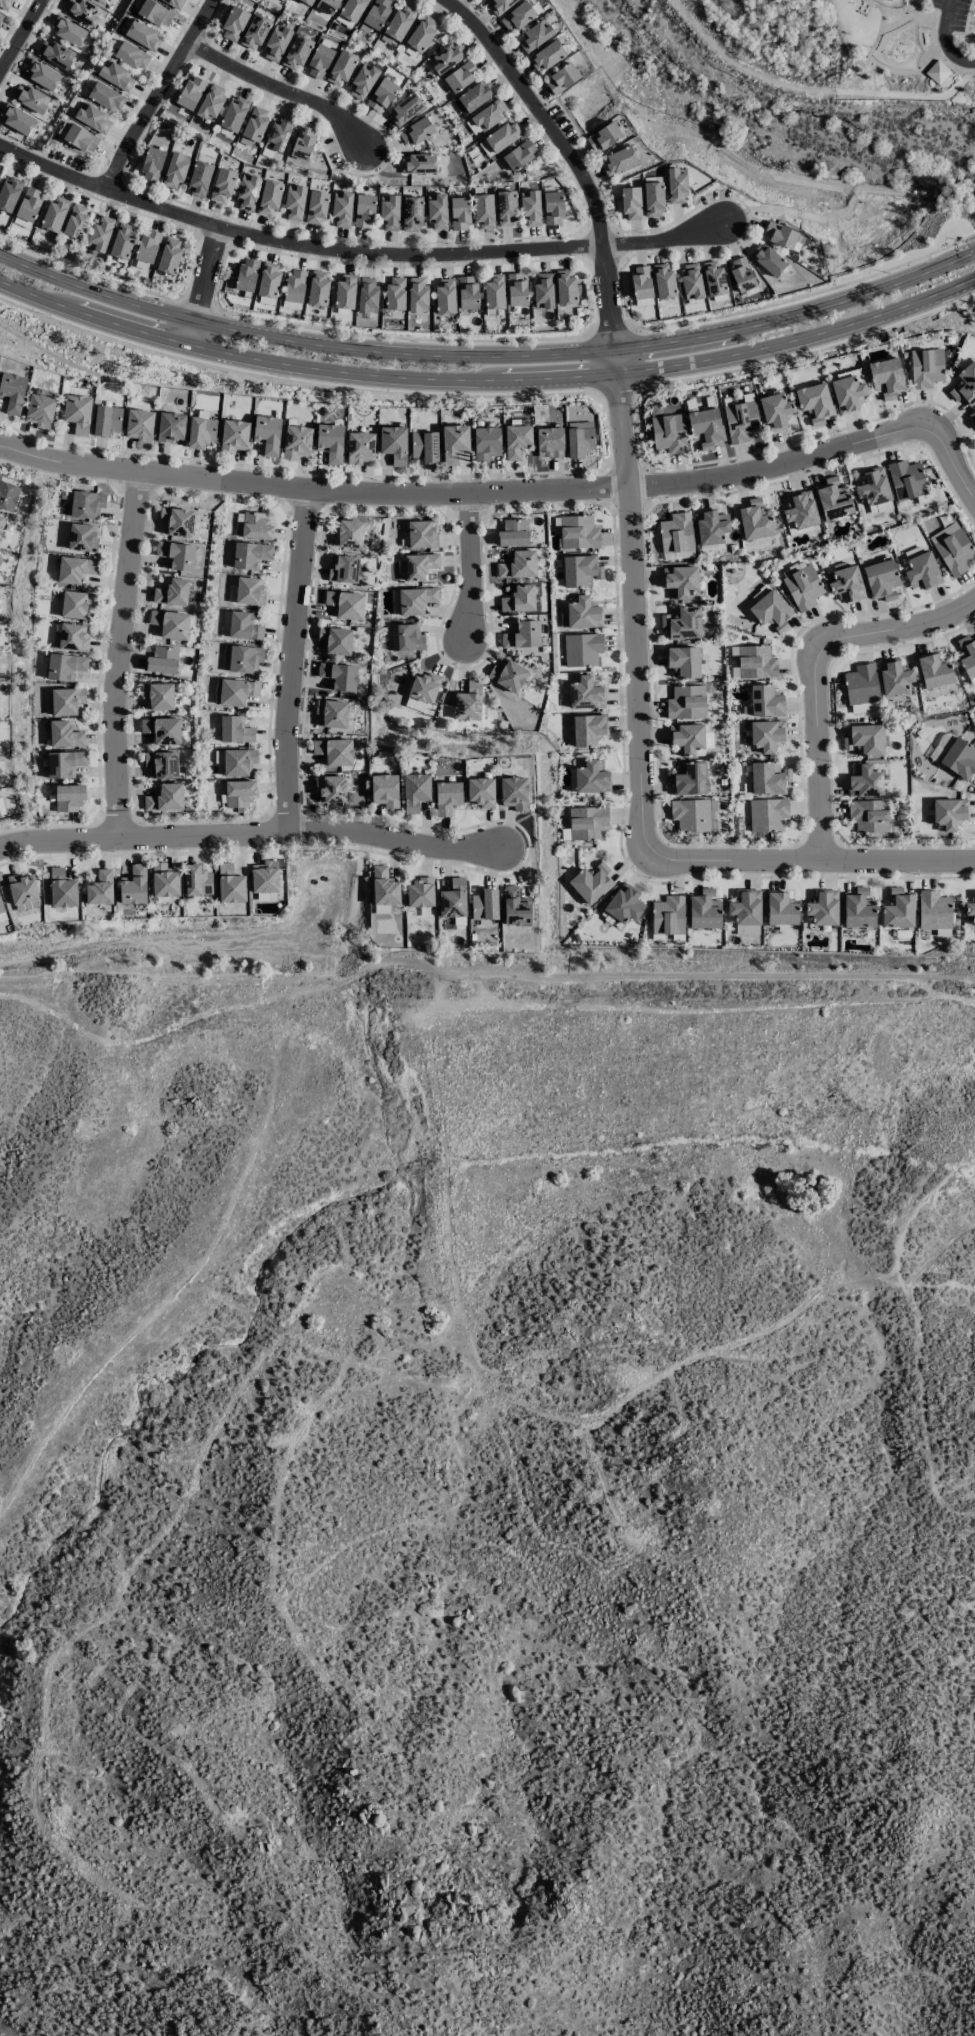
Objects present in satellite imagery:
building: (102, 0)
building: (308, 1)
building: (174, 3)
building: (5, 4)
building: (327, 5)
building: (498, 5)
building: (83, 11)
road: (888, 11)
building: (155, 12)
building: (351, 12)
building: (377, 13)
road: (921, 14)
building: (1, 15)
road: (917, 15)
building: (517, 16)
road: (967, 16)
building: (233, 23)
building: (398, 23)
road: (897, 23)
building: (69, 30)
parking lot: (956, 30)
building: (254, 31)
building: (421, 32)
road: (963, 33)
building: (143, 35)
building: (535, 35)
road: (22, 38)
road: (944, 39)
park: (906, 41)
building: (276, 43)
water park: (900, 47)
building: (296, 52)
building: (55, 53)
building: (132, 55)
building: (546, 55)
building: (447, 57)
road: (941, 57)
building: (319, 61)
road: (883, 66)
road: (741, 67)
building: (341, 68)
building: (936, 71)
building: (42, 74)
building: (116, 75)
building: (459, 76)
building: (562, 78)
building: (362, 81)
road: (281, 90)
building: (191, 92)
road: (159, 94)
building: (381, 94)
road: (907, 94)
building: (106, 96)
building: (474, 96)
building: (30, 97)
building: (211, 102)
building: (405, 109)
building: (234, 113)
building: (489, 114)
building: (93, 118)
building: (18, 119)
building: (255, 123)
building: (415, 131)
building: (603, 136)
building: (81, 138)
building: (500, 138)
building: (303, 142)
building: (519, 154)
building: (619, 160)
road: (574, 161)
building: (417, 163)
building: (152, 164)
building: (175, 169)
building: (199, 178)
building: (222, 184)
building: (676, 185)
building: (247, 192)
building: (9, 193)
building: (269, 197)
building: (653, 198)
building: (294, 201)
building: (631, 203)
building: (29, 204)
building: (316, 207)
building: (552, 207)
building: (506, 208)
building: (530, 208)
building: (341, 209)
building: (364, 209)
building: (483, 210)
building: (389, 211)
building: (437, 211)
building: (411, 213)
building: (459, 213)
building: (54, 214)
building: (76, 221)
building: (100, 233)
building: (779, 234)
building: (122, 240)
building: (147, 246)
road: (353, 252)
building: (169, 256)
building: (767, 259)
building: (741, 273)
building: (246, 274)
building: (713, 277)
building: (268, 280)
building: (663, 280)
building: (691, 281)
building: (641, 282)
building: (295, 285)
road: (205, 286)
building: (565, 286)
building: (318, 288)
building: (516, 289)
building: (543, 290)
building: (345, 292)
building: (395, 292)
building: (467, 292)
building: (494, 293)
building: (367, 294)
building: (417, 294)
building: (445, 296)
road: (809, 351)
road: (487, 353)
building: (925, 367)
road: (488, 376)
building: (887, 376)
road: (293, 380)
building: (965, 384)
building: (12, 391)
road: (617, 391)
building: (847, 394)
building: (814, 402)
building: (40, 410)
building: (776, 410)
building: (77, 412)
building: (972, 415)
building: (107, 420)
building: (741, 421)
building: (140, 425)
building: (171, 426)
building: (706, 426)
building: (201, 432)
building: (267, 433)
building: (668, 433)
building: (234, 435)
building: (579, 438)
building: (516, 440)
building: (296, 441)
building: (330, 442)
building: (454, 442)
building: (549, 442)
building: (486, 443)
building: (394, 444)
building: (424, 446)
building: (360, 447)
building: (906, 479)
building: (873, 486)
road: (509, 492)
building: (8, 495)
building: (834, 499)
building: (86, 504)
building: (800, 510)
building: (755, 520)
building: (1, 521)
building: (178, 521)
building: (252, 525)
building: (711, 526)
building: (577, 531)
building: (513, 532)
building: (350, 533)
building: (676, 533)
building: (421, 534)
building: (82, 537)
building: (952, 548)
building: (177, 554)
building: (250, 554)
road: (471, 564)
building: (419, 565)
building: (518, 565)
building: (343, 568)
building: (75, 569)
building: (580, 570)
building: (922, 571)
building: (881, 579)
building: (680, 580)
building: (846, 584)
building: (803, 587)
building: (250, 591)
building: (172, 592)
building: (519, 598)
building: (412, 600)
building: (76, 604)
building: (346, 604)
road: (635, 607)
building: (771, 610)
building: (581, 614)
building: (683, 622)
building: (170, 623)
building: (243, 625)
building: (522, 635)
building: (73, 636)
building: (406, 637)
building: (335, 640)
building: (582, 649)
road: (120, 655)
building: (242, 658)
building: (162, 660)
road: (291, 661)
building: (684, 661)
building: (753, 662)
building: (65, 666)
building: (934, 671)
road: (815, 673)
building: (339, 675)
building: (507, 675)
building: (894, 677)
building: (861, 684)
building: (424, 686)
building: (237, 691)
building: (586, 693)
building: (158, 695)
building: (64, 701)
building: (765, 701)
building: (468, 702)
building: (686, 702)
building: (417, 705)
building: (332, 713)
building: (162, 729)
building: (235, 729)
building: (588, 729)
building: (65, 734)
building: (766, 735)
building: (687, 737)
building: (863, 739)
building: (941, 745)
building: (334, 751)
building: (959, 758)
building: (239, 761)
building: (64, 763)
building: (162, 764)
building: (592, 777)
building: (688, 777)
building: (768, 777)
building: (865, 781)
building: (331, 788)
building: (384, 790)
building: (415, 791)
building: (239, 792)
building: (481, 792)
building: (514, 792)
building: (69, 797)
building: (447, 797)
building: (165, 798)
building: (949, 812)
building: (690, 814)
building: (767, 814)
building: (868, 815)
building: (587, 822)
road: (250, 836)
road: (812, 861)
building: (265, 876)
building: (165, 880)
building: (197, 880)
building: (591, 882)
building: (230, 884)
building: (134, 885)
building: (384, 886)
building: (22, 888)
building: (62, 888)
building: (100, 888)
building: (419, 893)
building: (453, 899)
building: (624, 903)
building: (484, 904)
building: (516, 906)
building: (823, 907)
building: (386, 908)
building: (858, 908)
building: (971, 908)
building: (781, 909)
building: (898, 909)
building: (704, 910)
building: (933, 910)
building: (2, 911)
building: (746, 911)
building: (668, 915)

